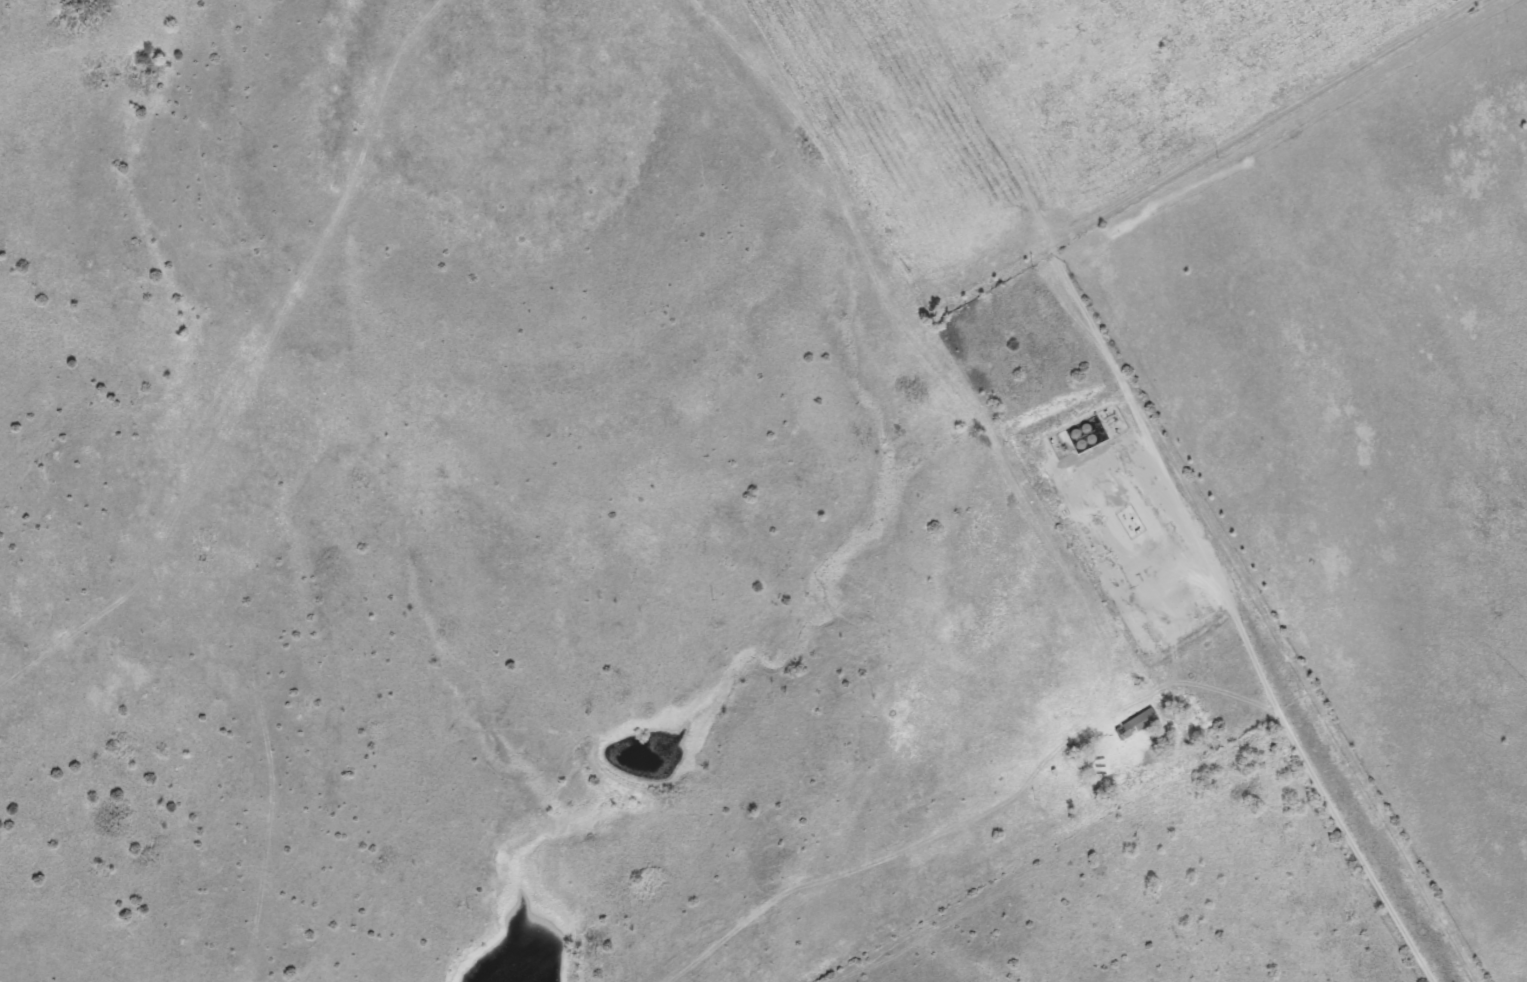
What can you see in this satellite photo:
road: (1206, 688)
building: (1134, 724)
road: (1325, 801)

